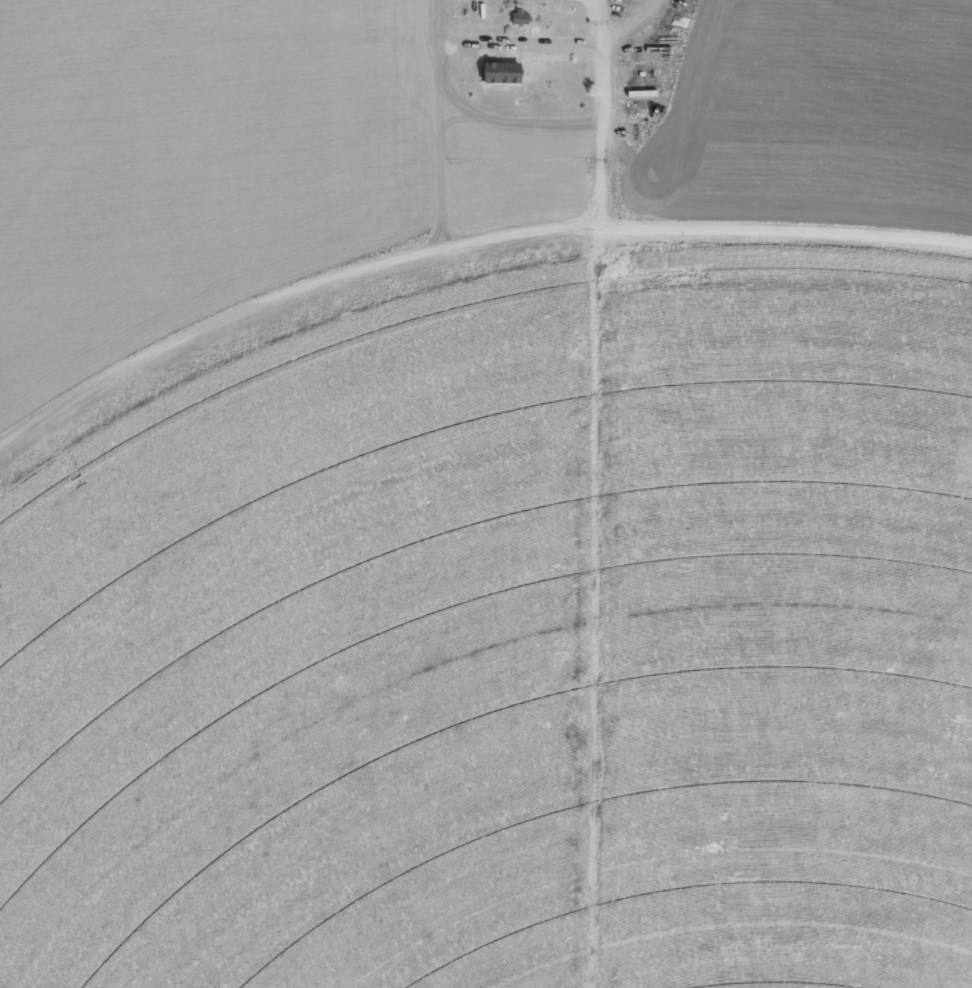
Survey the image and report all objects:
road: (785, 230)
road: (370, 265)

